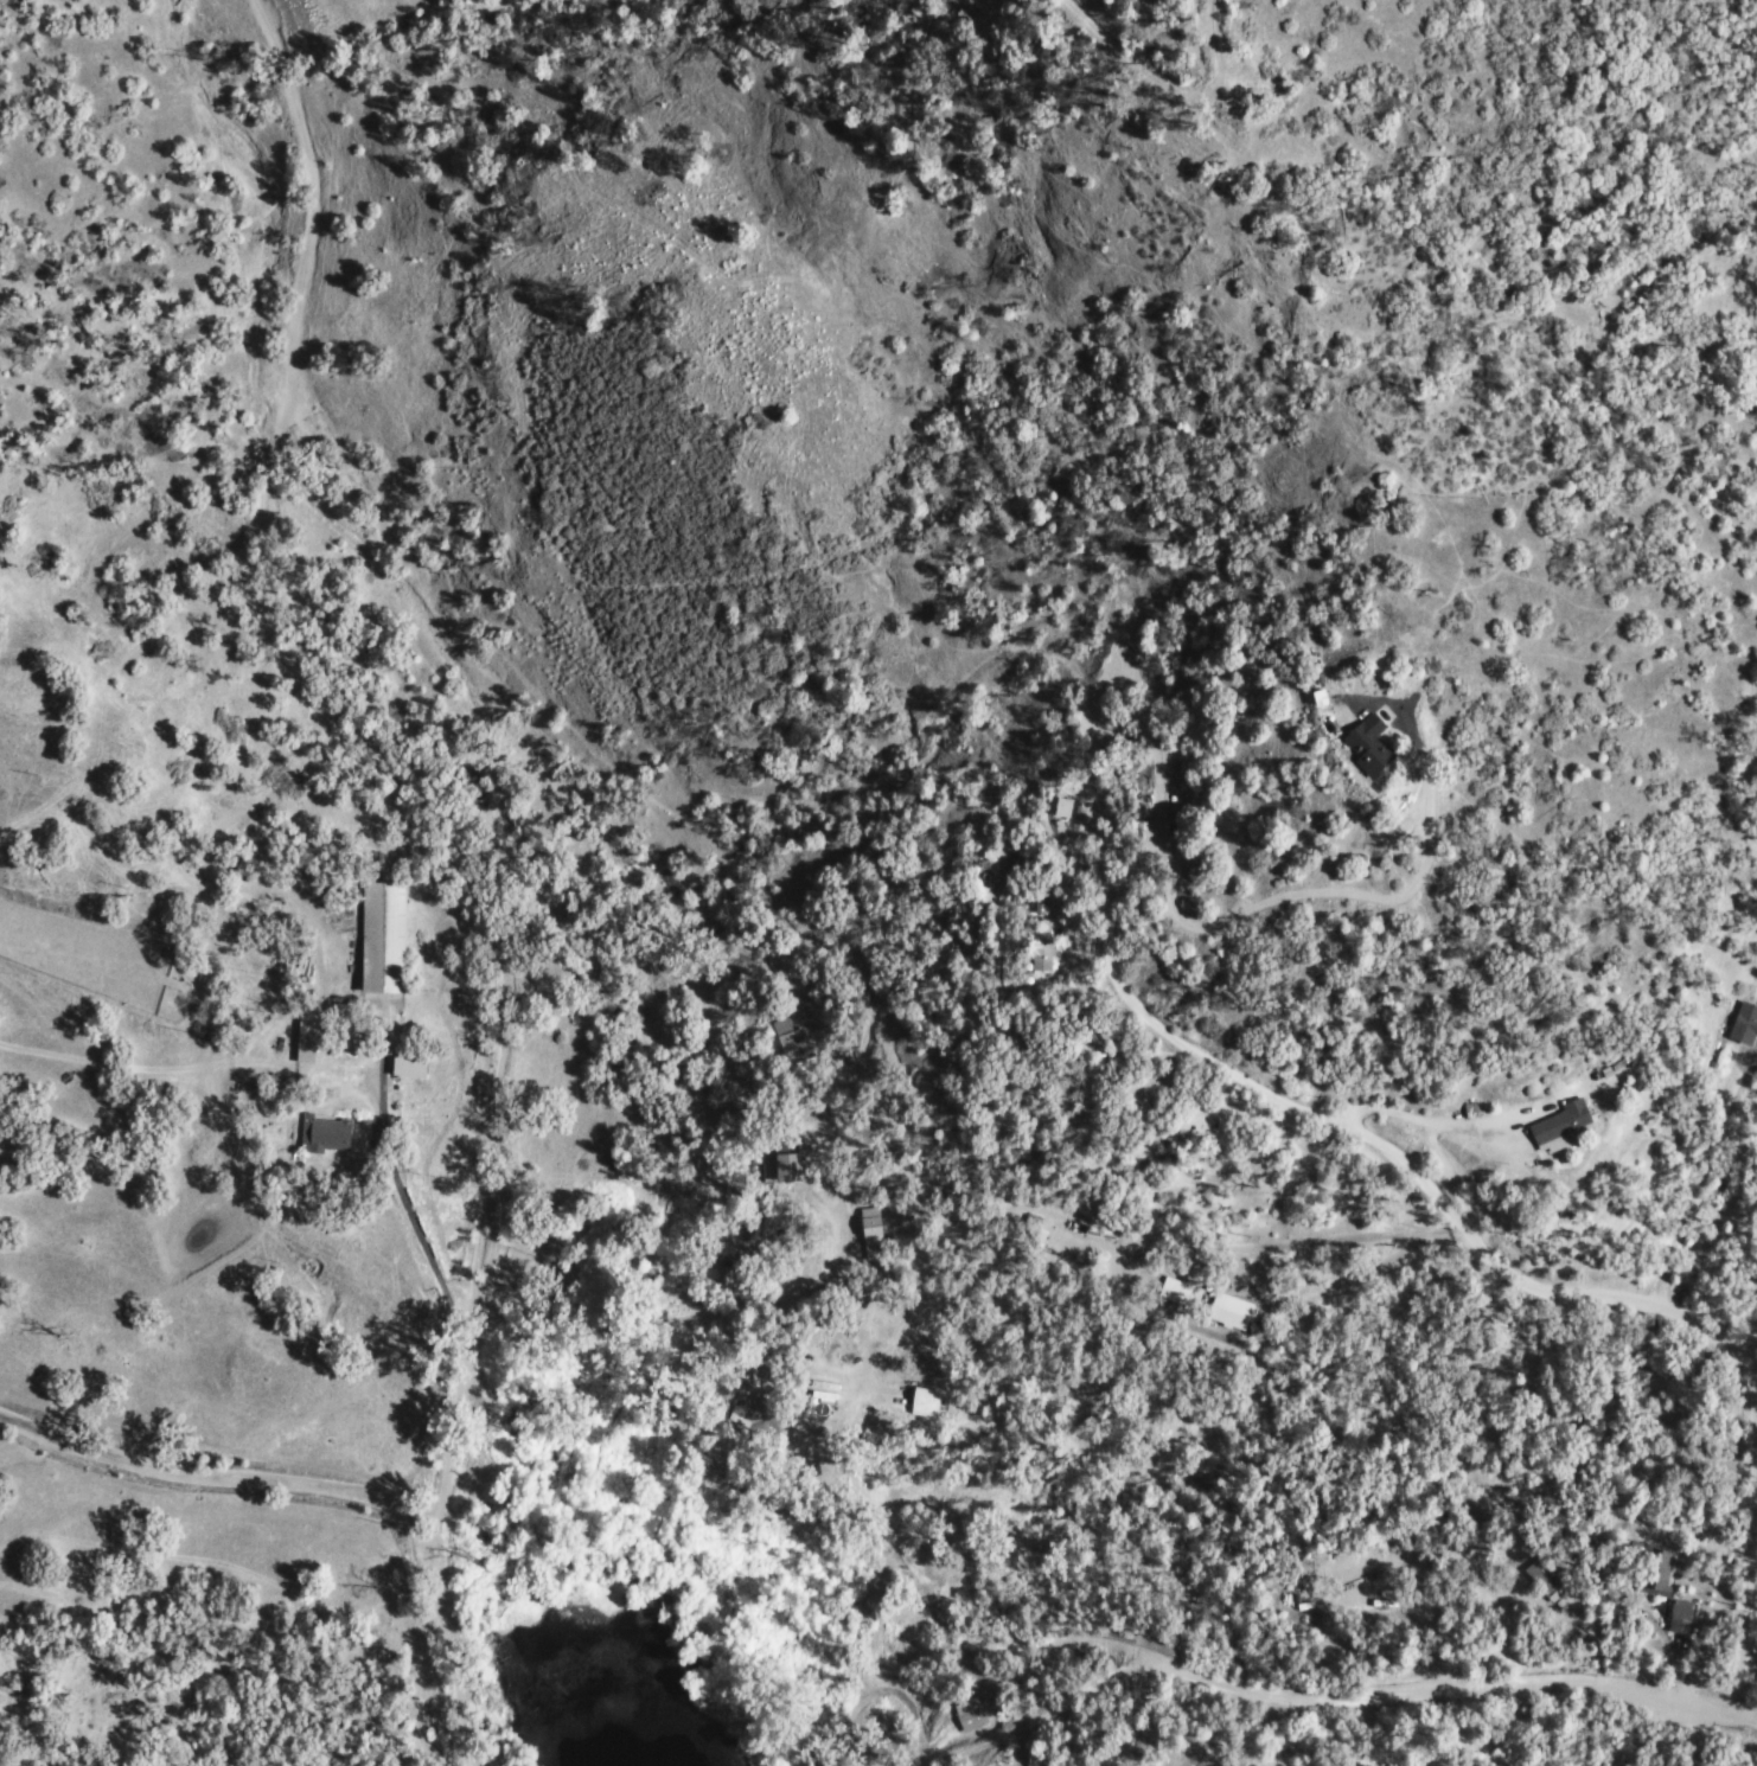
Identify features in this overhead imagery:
building: (1374, 746)
road: (364, 785)
building: (1066, 807)
road: (1239, 911)
building: (388, 938)
building: (1046, 954)
building: (1746, 1025)
building: (796, 1039)
building: (413, 1067)
building: (1566, 1127)
building: (328, 1135)
building: (793, 1167)
road: (1695, 1183)
road: (1452, 1217)
building: (875, 1233)
building: (1184, 1293)
road: (761, 1312)
building: (1234, 1312)
road: (560, 1317)
building: (929, 1402)
road: (234, 1479)
building: (1546, 1583)
building: (1661, 1585)
building: (1686, 1617)
road: (454, 1670)
road: (877, 1684)
road: (1301, 1708)
building: (975, 1715)
road: (1031, 1725)

